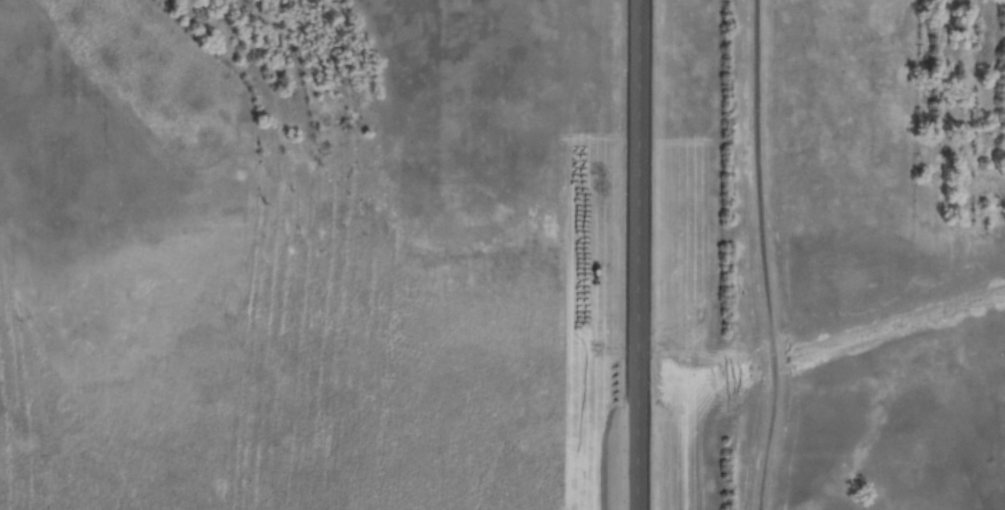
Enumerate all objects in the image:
road: (629, 255)
road: (763, 255)

